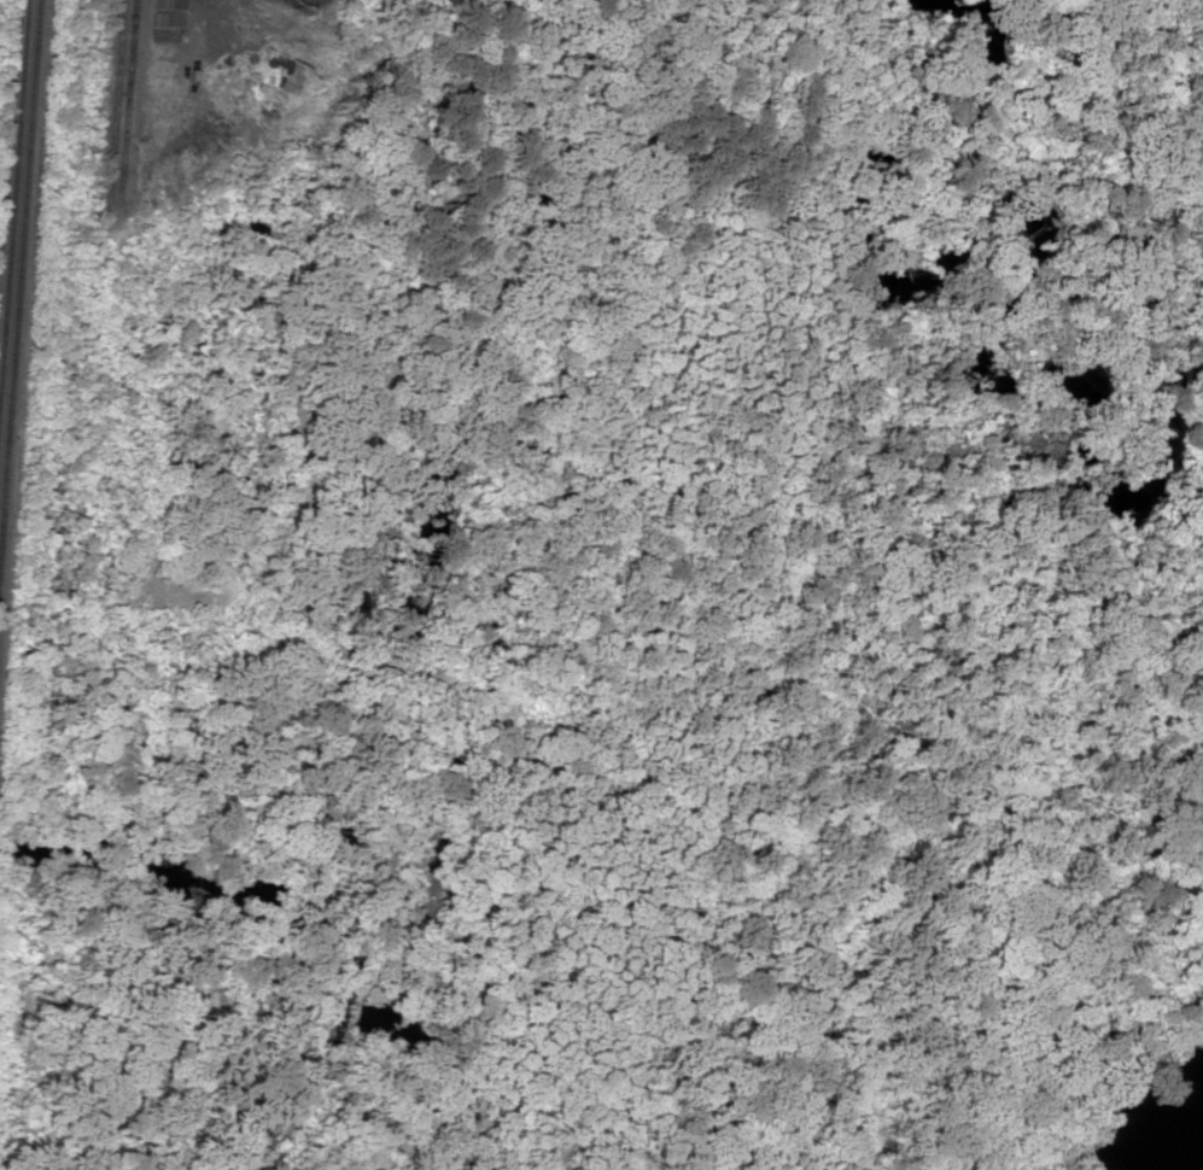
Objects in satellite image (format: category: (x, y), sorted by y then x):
railway: (121, 101)
railway: (110, 103)
railway: (12, 179)
railway: (18, 258)

